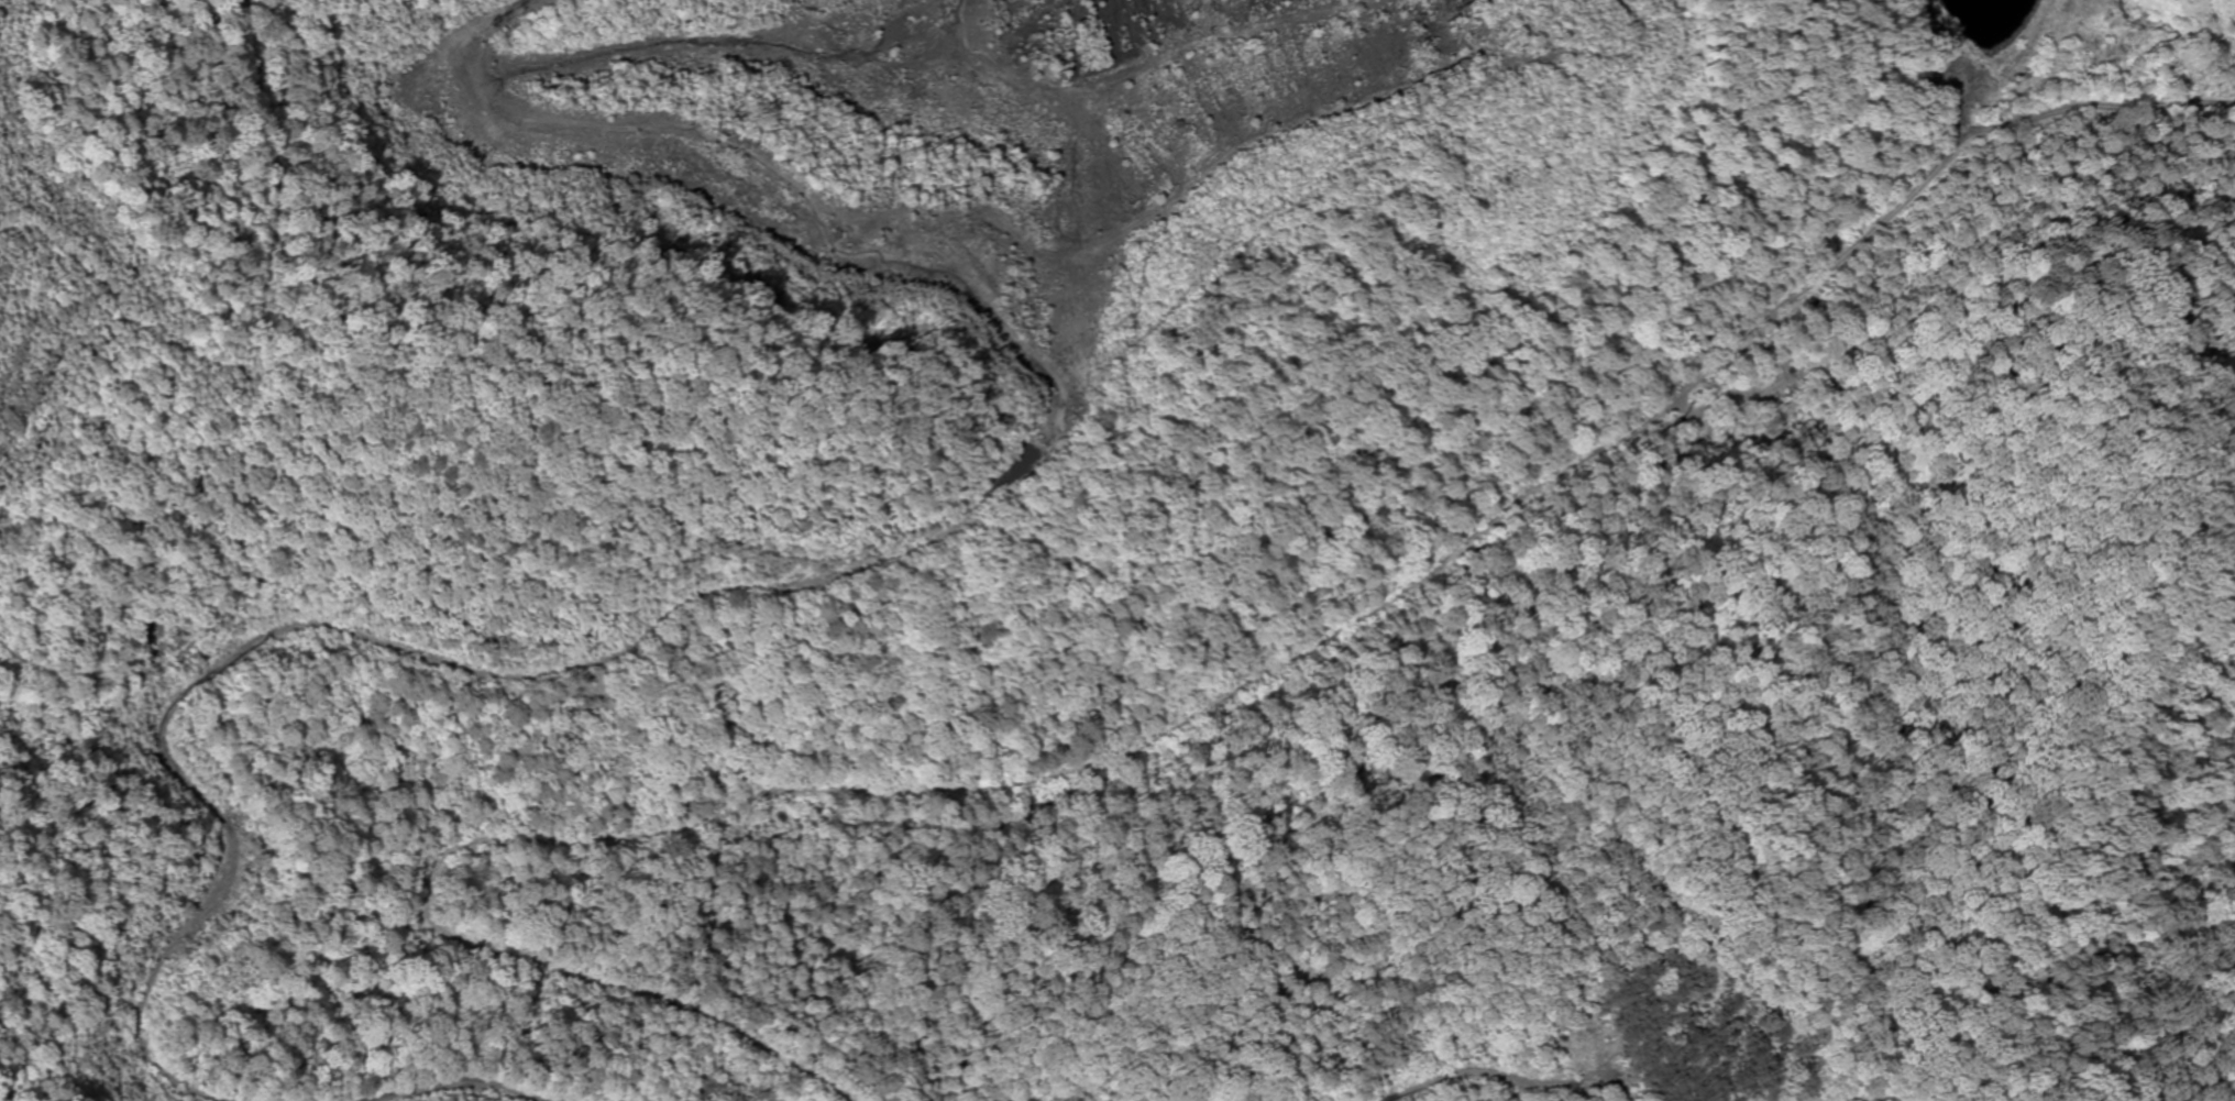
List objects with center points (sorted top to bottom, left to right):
road: (800, 583)
road: (1155, 736)
road: (393, 1031)
road: (1496, 1065)
road: (488, 1087)
road: (1851, 1097)

